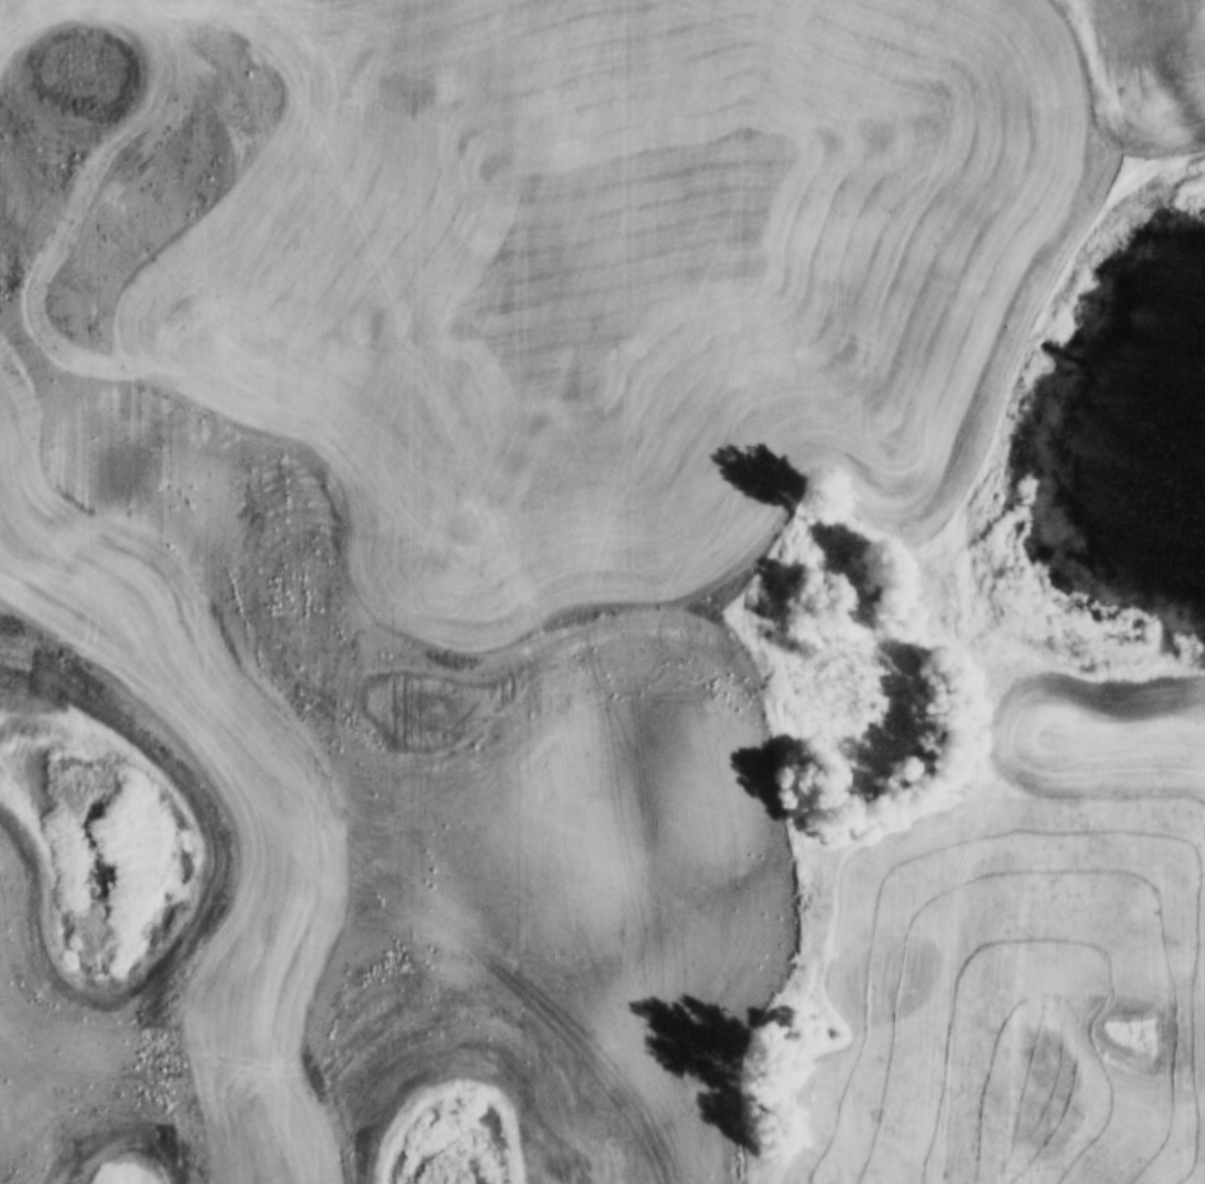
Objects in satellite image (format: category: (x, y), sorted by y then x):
road: (952, 990)

